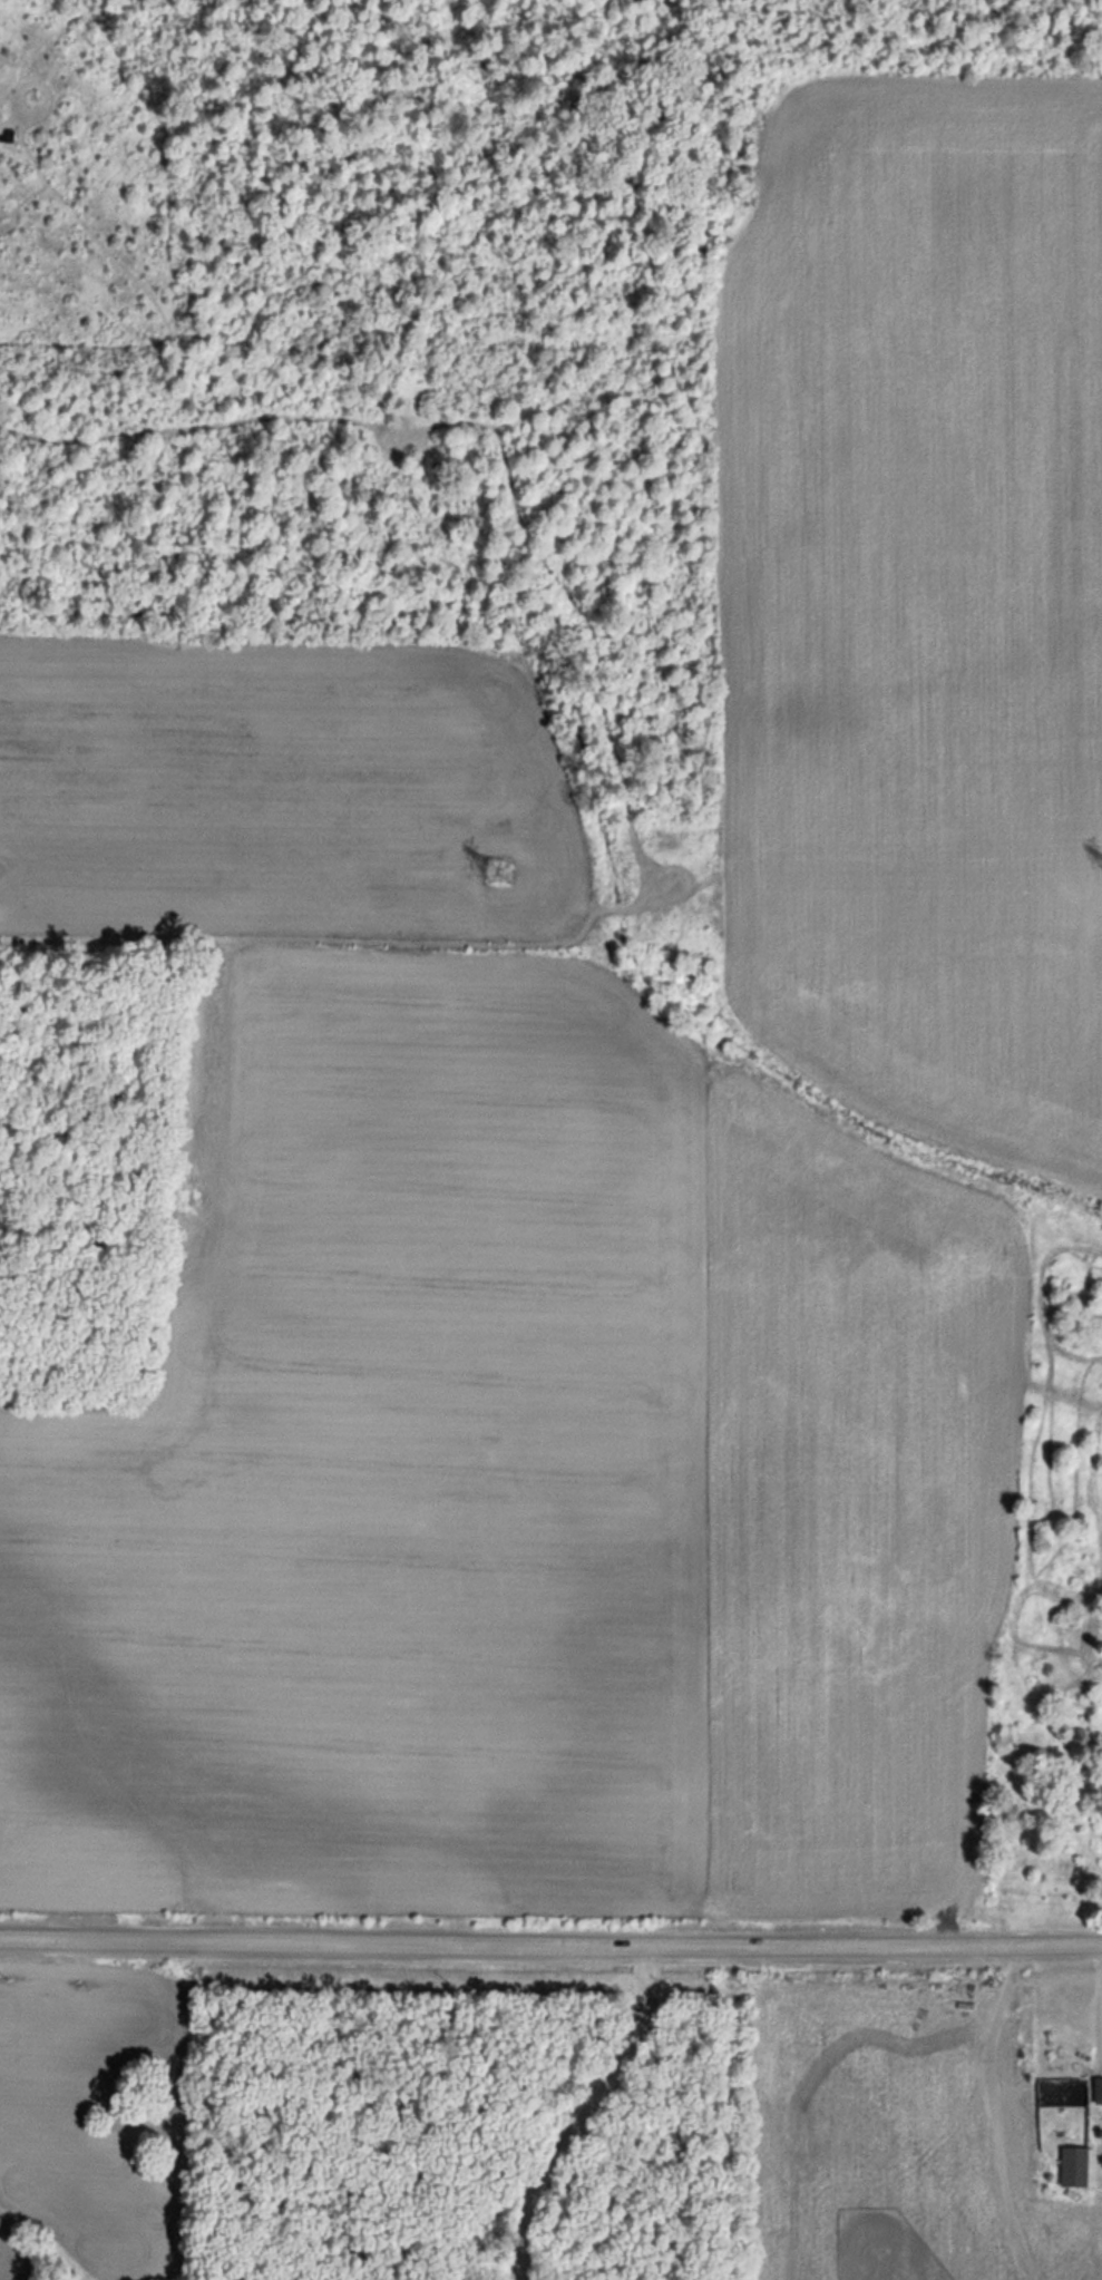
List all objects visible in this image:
power tower: (497, 870)
road: (550, 1942)
building: (1096, 2087)
road: (588, 2111)
building: (1073, 2165)

